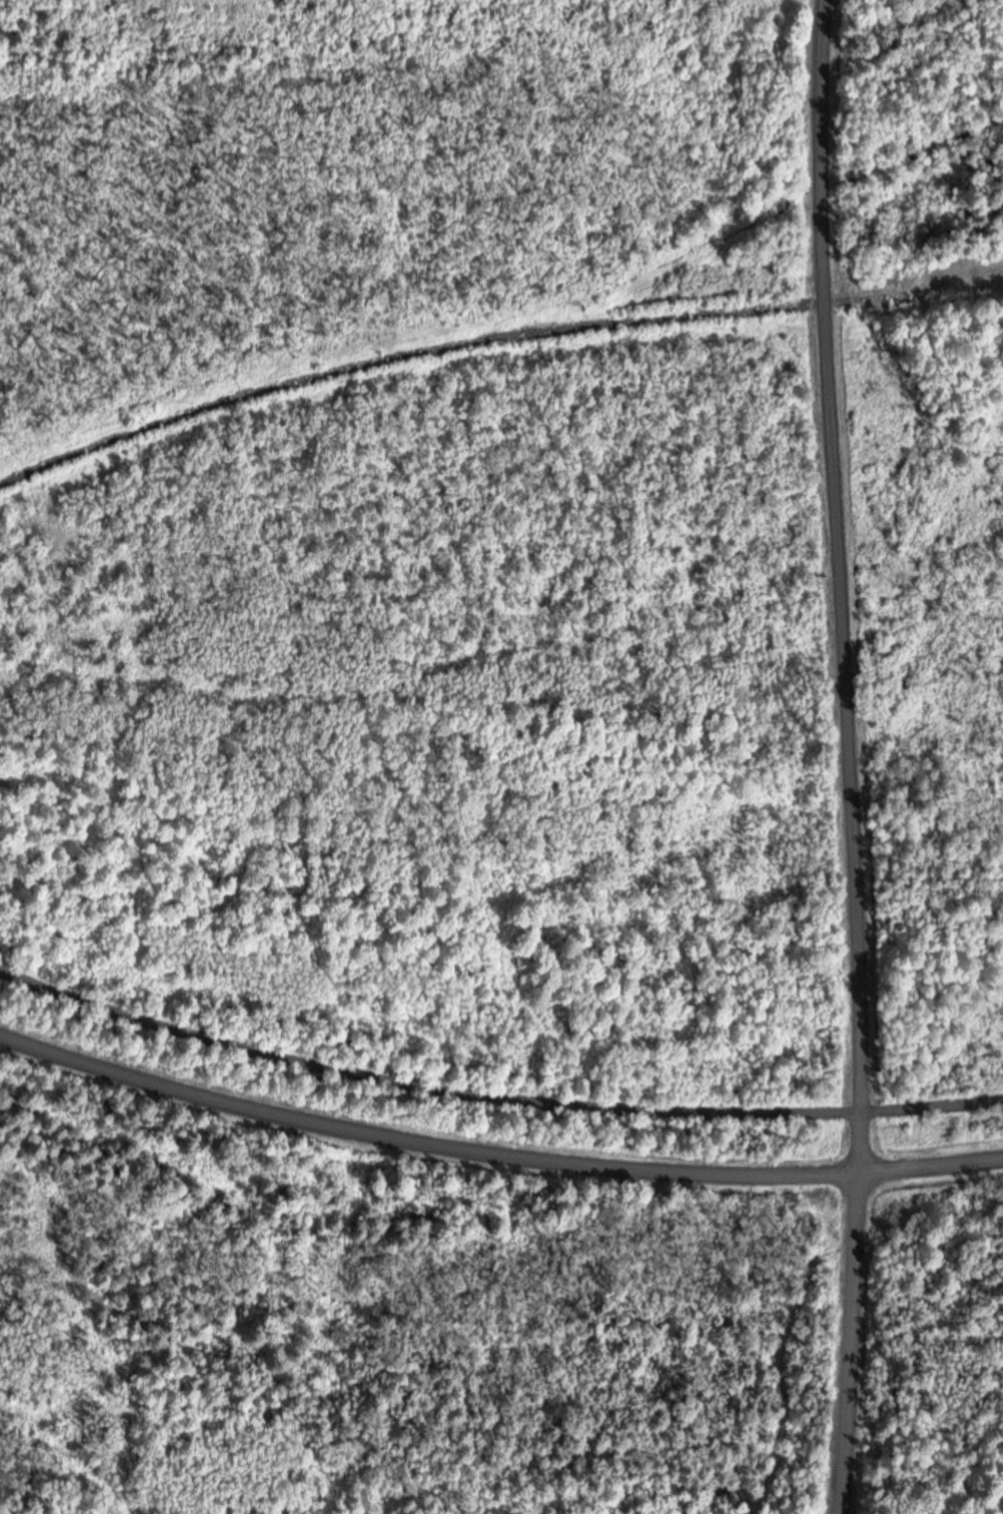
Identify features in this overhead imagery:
railway: (491, 342)
road: (852, 756)
road: (493, 1101)
road: (422, 1142)
road: (930, 1168)

